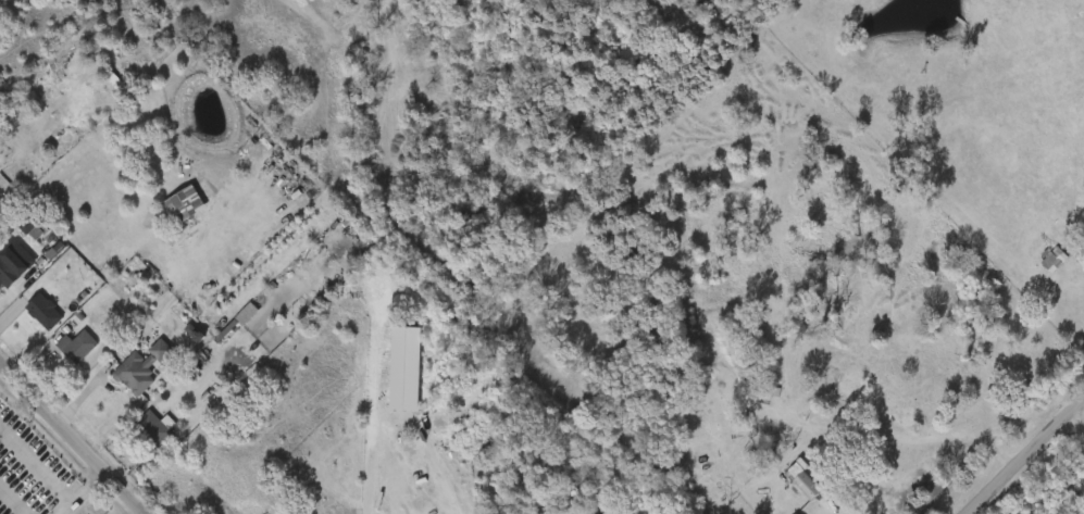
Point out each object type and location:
building: (186, 206)
building: (164, 214)
building: (1054, 258)
building: (10, 276)
building: (46, 312)
building: (25, 319)
building: (77, 344)
building: (59, 354)
building: (142, 367)
building: (116, 381)
building: (633, 424)
road: (1073, 427)
building: (154, 428)
road: (75, 431)
building: (136, 436)
road: (1024, 455)
road: (447, 461)
building: (805, 480)
building: (783, 490)
road: (86, 492)
building: (610, 500)
road: (822, 507)
building: (797, 513)

